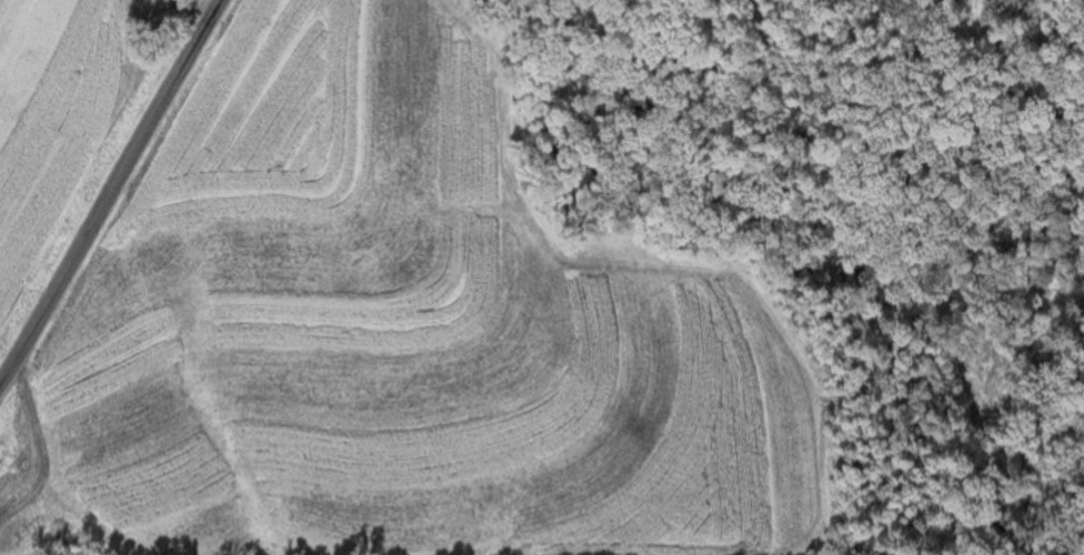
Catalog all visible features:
road: (113, 195)

